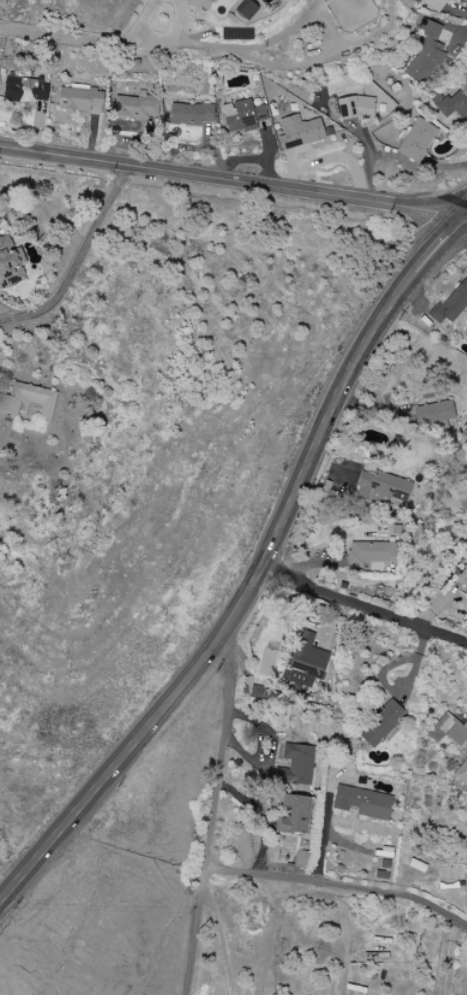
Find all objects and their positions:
building: (211, 0)
building: (199, 3)
building: (434, 4)
building: (247, 10)
road: (86, 45)
building: (426, 53)
building: (25, 90)
building: (80, 99)
building: (455, 105)
building: (136, 107)
building: (356, 108)
building: (190, 114)
building: (242, 116)
building: (299, 132)
building: (417, 140)
road: (365, 164)
road: (414, 167)
road: (230, 182)
road: (462, 220)
road: (462, 227)
road: (435, 248)
road: (78, 261)
building: (9, 262)
building: (450, 305)
building: (466, 340)
building: (28, 400)
building: (434, 416)
building: (383, 489)
building: (370, 553)
building: (466, 580)
road: (235, 604)
road: (361, 606)
building: (306, 661)
building: (380, 723)
building: (448, 730)
building: (295, 765)
building: (461, 774)
building: (363, 802)
road: (214, 814)
building: (295, 814)
road: (323, 832)
building: (300, 859)
road: (339, 888)
road: (446, 956)

